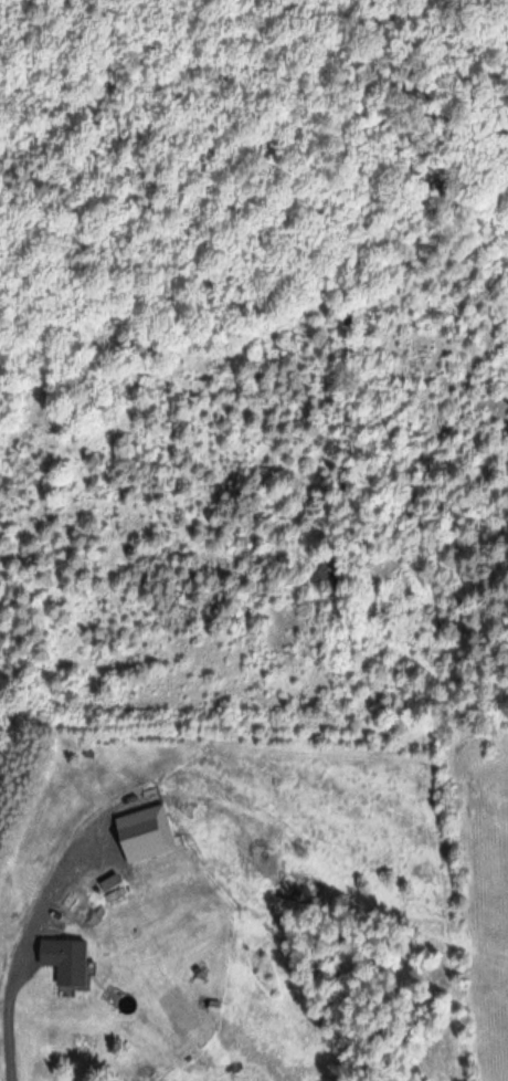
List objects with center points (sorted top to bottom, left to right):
building: (145, 827)
road: (35, 927)
building: (65, 958)

